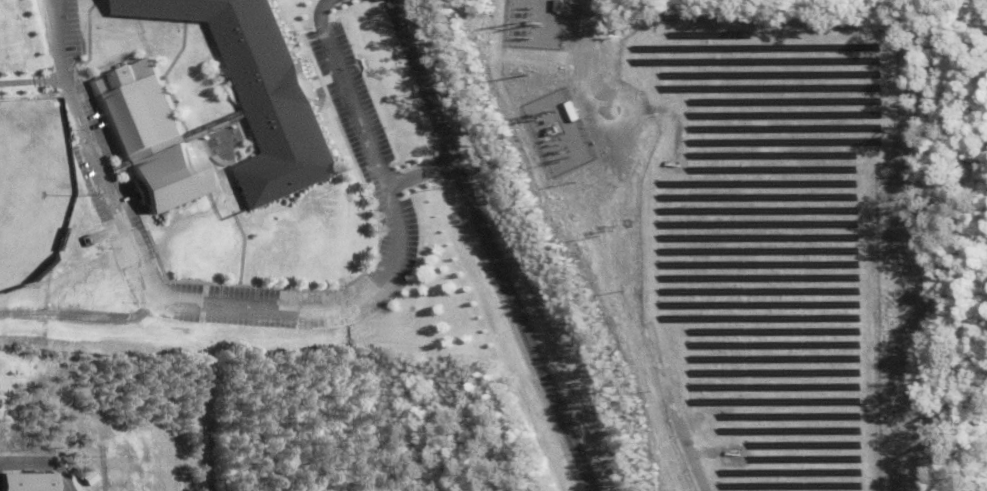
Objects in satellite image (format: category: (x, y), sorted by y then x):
road: (316, 11)
road: (43, 18)
power substation: (534, 25)
flagpole: (359, 64)
road: (32, 84)
building: (210, 88)
building: (191, 96)
building: (272, 103)
power substation: (558, 134)
building: (150, 135)
road: (422, 174)
park: (33, 187)
road: (488, 245)
solar farm: (761, 246)
road: (269, 307)
park: (92, 419)
building: (29, 481)

